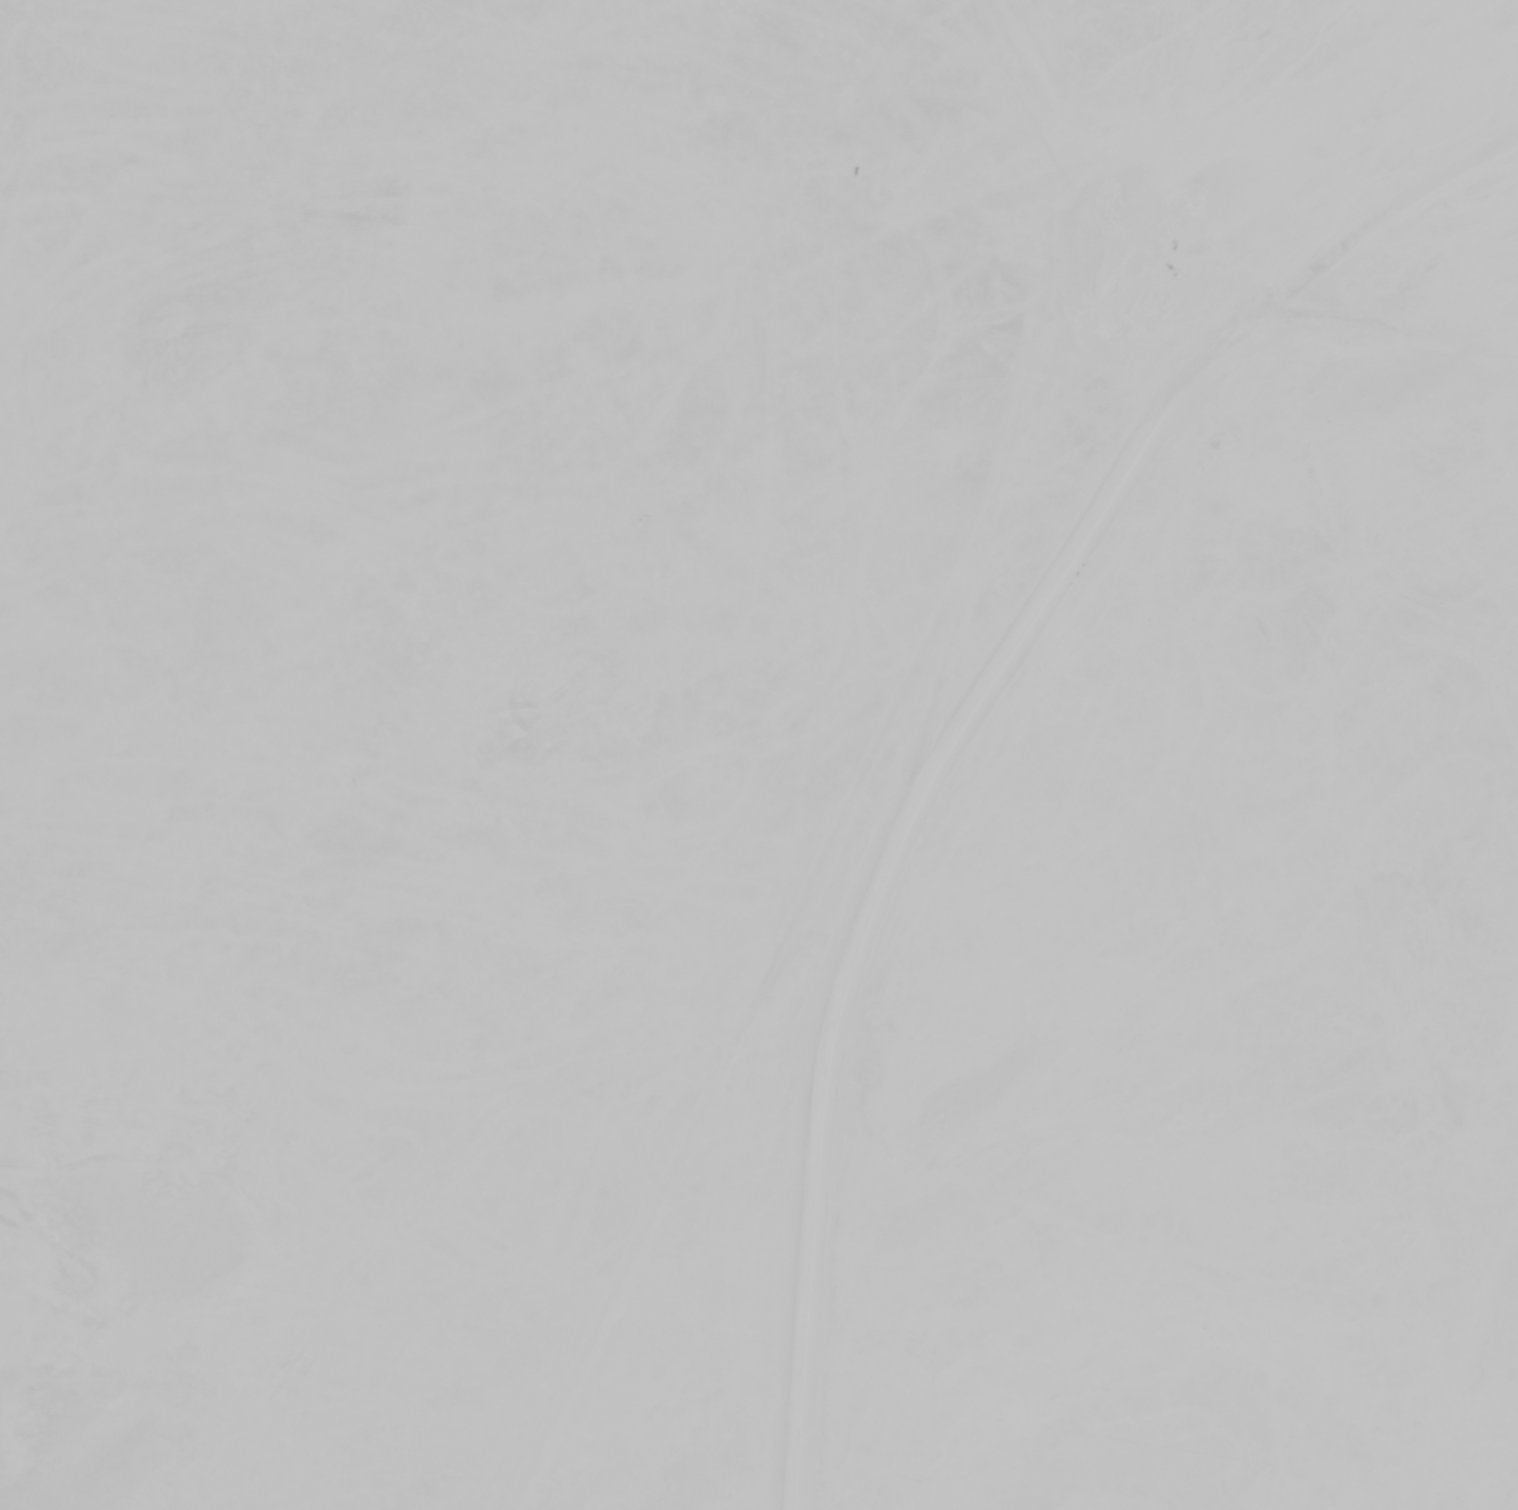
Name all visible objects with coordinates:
road: (1311, 252)
road: (969, 725)
building: (528, 982)
building: (59, 1319)

